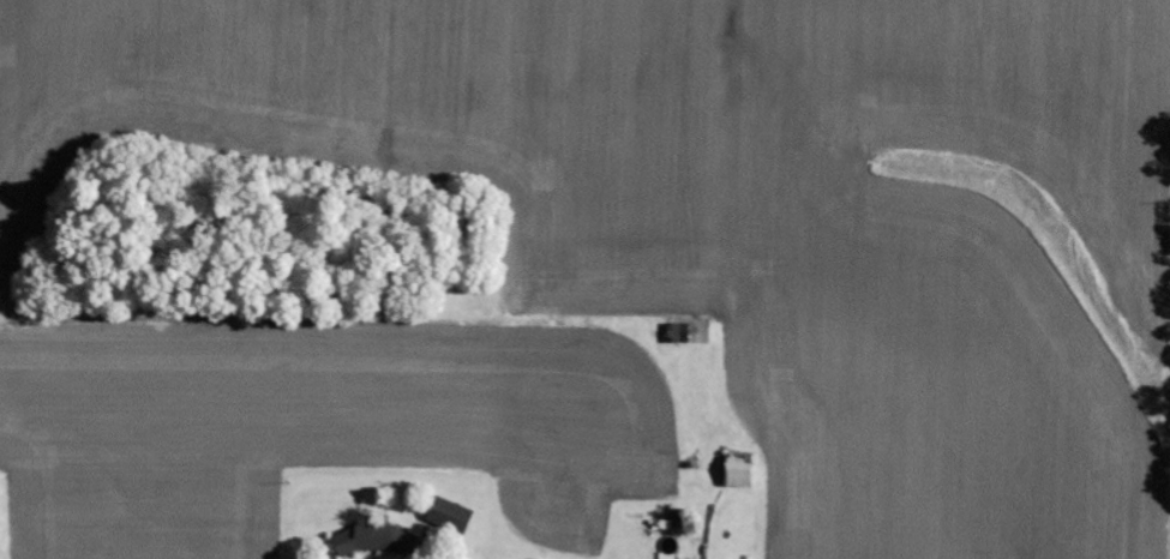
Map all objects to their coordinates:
building: (742, 470)
building: (448, 528)

